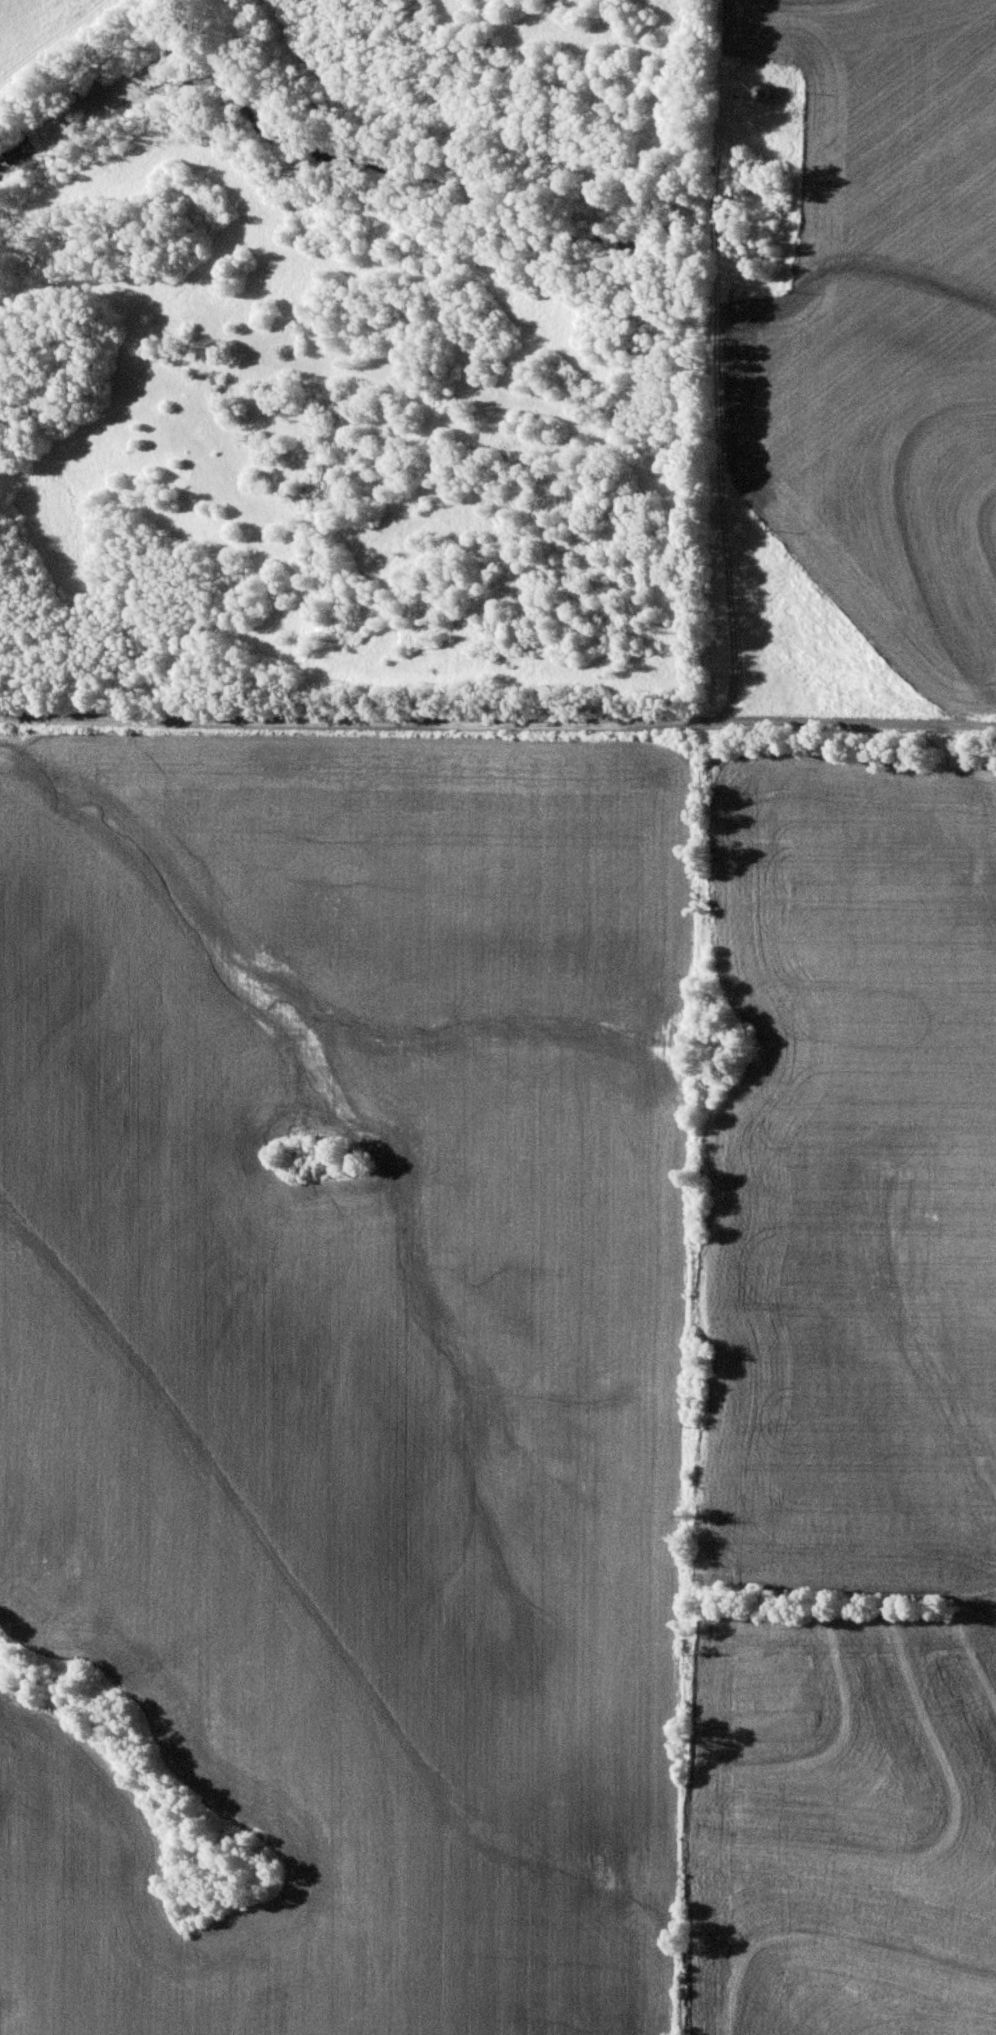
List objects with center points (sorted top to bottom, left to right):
building: (765, 94)
road: (498, 720)

